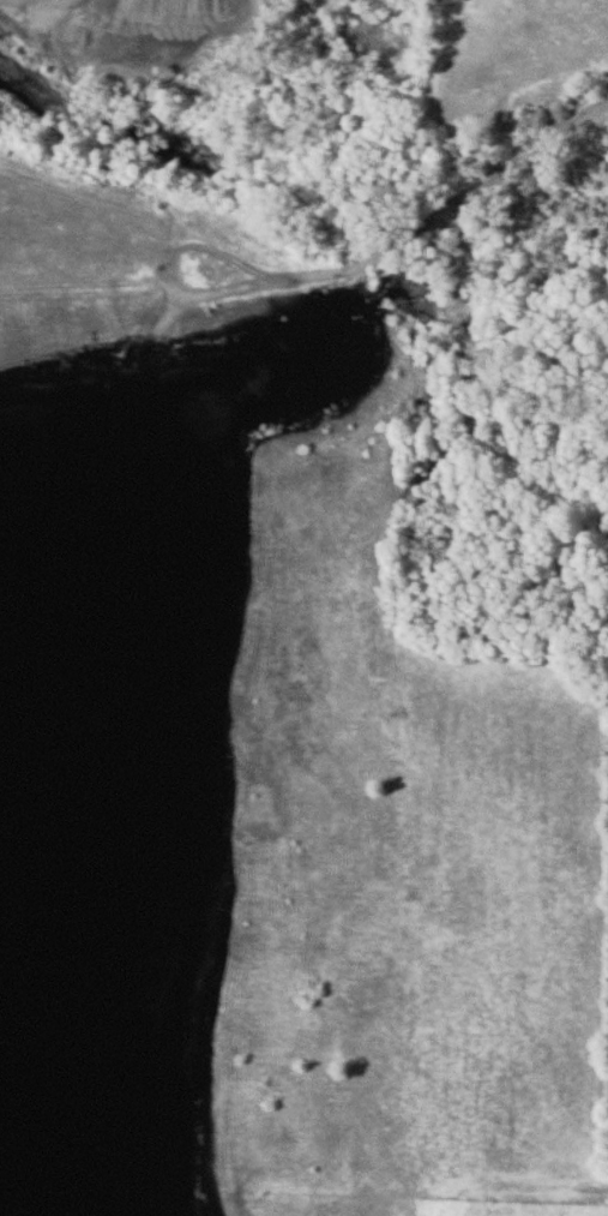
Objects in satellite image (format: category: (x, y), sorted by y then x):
road: (303, 1202)

